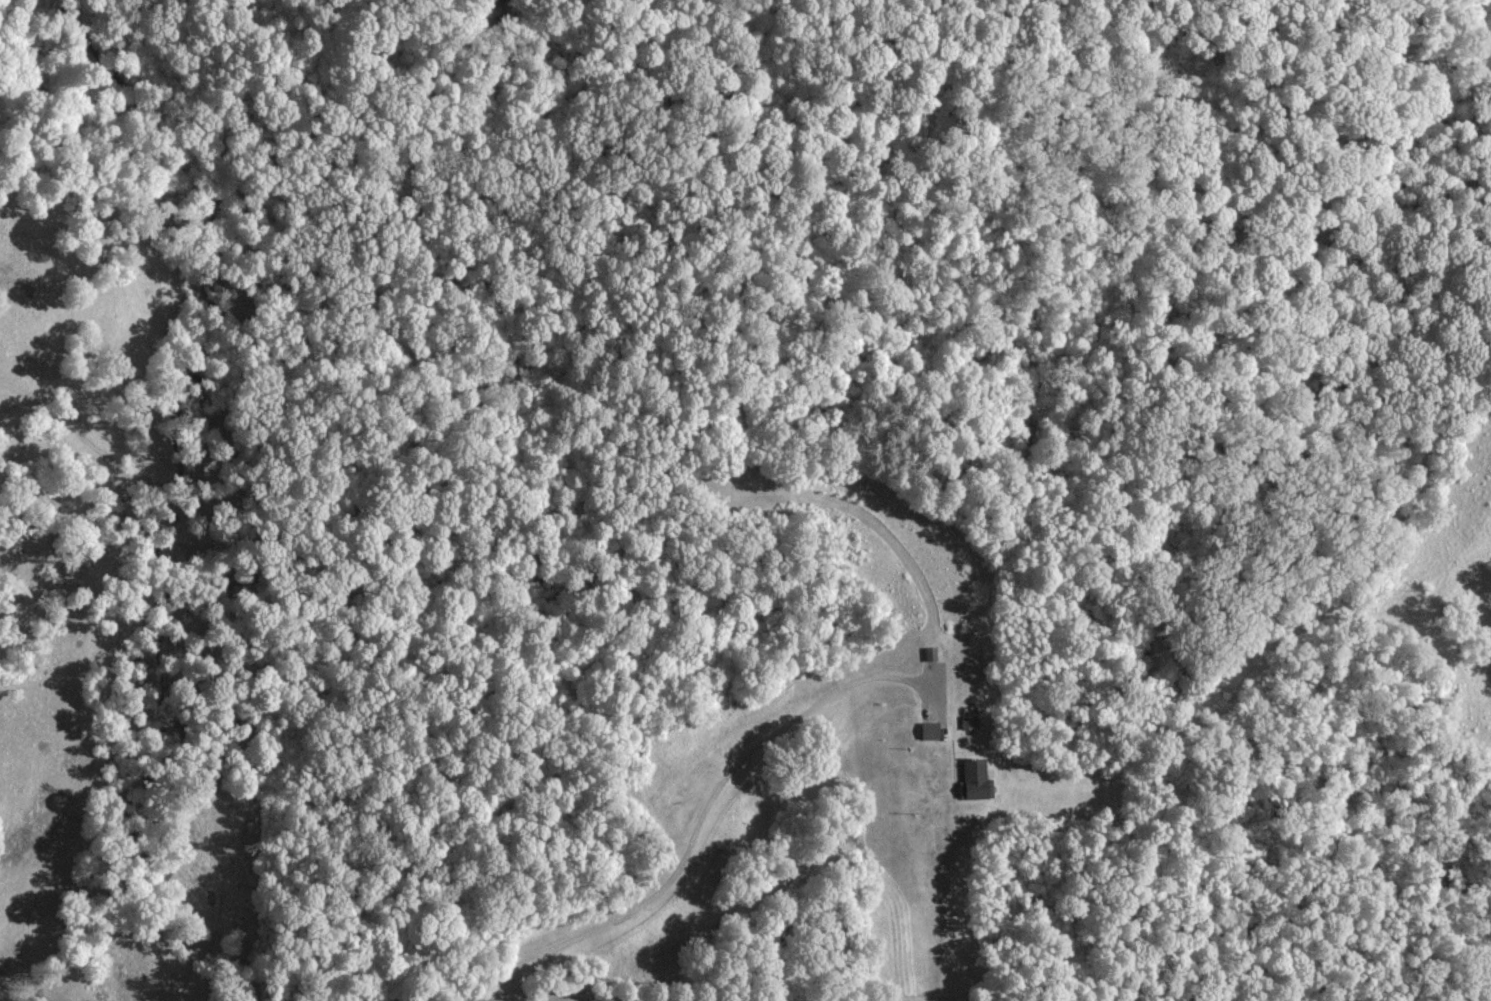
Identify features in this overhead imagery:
road: (934, 604)
building: (930, 729)
building: (975, 778)
road: (694, 825)

